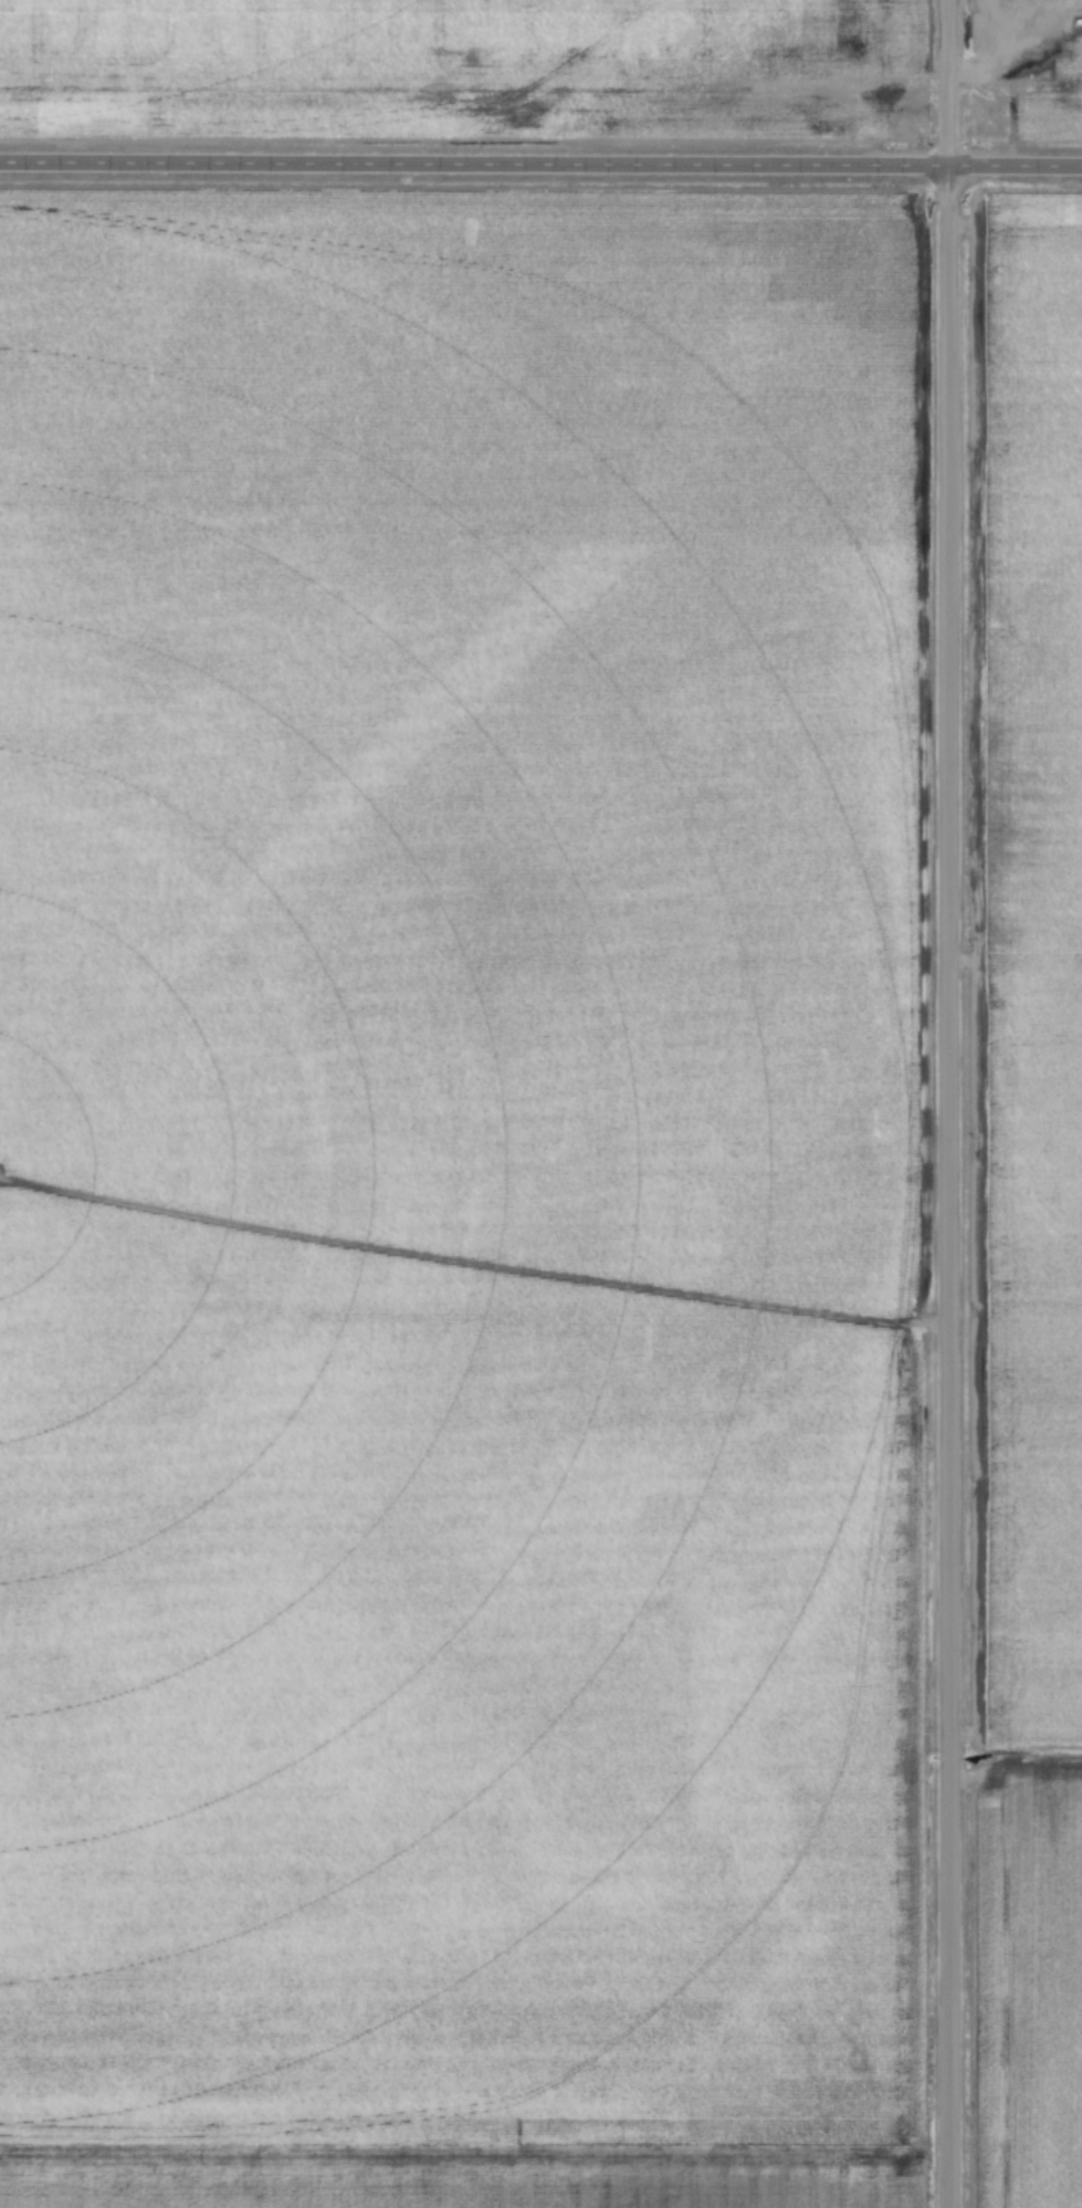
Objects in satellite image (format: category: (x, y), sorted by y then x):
building: (1033, 72)
road: (1042, 84)
road: (540, 169)
road: (947, 1103)
crop: (461, 1175)

